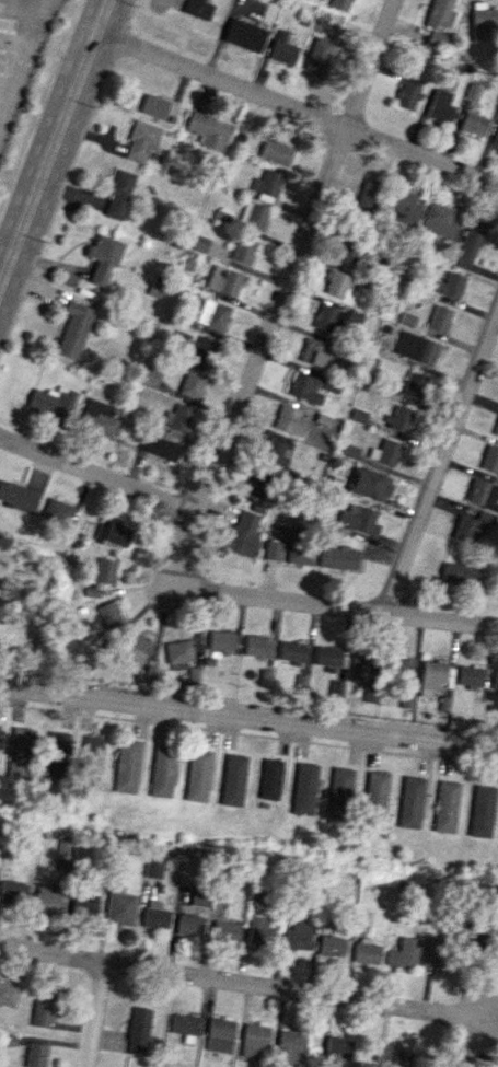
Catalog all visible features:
building: (339, 4)
building: (197, 8)
building: (439, 13)
building: (482, 21)
building: (243, 34)
building: (437, 38)
road: (14, 44)
building: (281, 48)
parking lot: (19, 49)
building: (317, 56)
road: (22, 61)
road: (7, 82)
building: (473, 92)
building: (406, 95)
building: (440, 105)
building: (153, 106)
road: (297, 109)
building: (473, 123)
building: (208, 129)
building: (497, 137)
building: (140, 141)
road: (54, 142)
building: (276, 152)
building: (266, 185)
building: (117, 194)
building: (367, 196)
building: (403, 208)
building: (253, 214)
building: (440, 219)
building: (199, 243)
building: (468, 244)
building: (243, 248)
building: (350, 253)
road: (293, 255)
building: (102, 257)
building: (223, 280)
building: (336, 282)
building: (450, 285)
building: (158, 286)
building: (212, 314)
building: (325, 317)
building: (439, 317)
building: (73, 329)
building: (200, 348)
building: (417, 348)
building: (315, 352)
building: (149, 376)
building: (192, 383)
building: (413, 385)
building: (304, 387)
building: (53, 402)
building: (359, 415)
building: (97, 417)
building: (177, 417)
building: (399, 417)
building: (289, 420)
building: (496, 428)
building: (160, 445)
building: (385, 452)
building: (489, 460)
road: (440, 461)
road: (97, 475)
building: (369, 484)
building: (258, 485)
building: (483, 494)
building: (18, 495)
building: (57, 511)
building: (359, 519)
building: (472, 525)
building: (113, 533)
building: (244, 533)
building: (299, 548)
building: (271, 549)
building: (337, 558)
building: (459, 572)
building: (100, 575)
road: (152, 591)
road: (303, 604)
building: (109, 614)
building: (220, 640)
building: (256, 646)
building: (135, 648)
building: (291, 651)
building: (179, 653)
building: (326, 656)
building: (360, 666)
building: (403, 670)
building: (468, 675)
building: (431, 676)
building: (265, 677)
building: (495, 683)
building: (335, 688)
building: (406, 700)
road: (248, 718)
building: (57, 749)
building: (20, 753)
building: (91, 756)
building: (128, 766)
building: (162, 769)
building: (198, 775)
building: (270, 778)
building: (233, 779)
building: (304, 788)
building: (338, 793)
building: (374, 796)
building: (410, 801)
building: (447, 807)
building: (482, 811)
building: (63, 848)
building: (153, 867)
building: (12, 891)
building: (256, 896)
building: (47, 897)
building: (85, 906)
building: (119, 909)
building: (154, 915)
building: (362, 917)
building: (189, 924)
building: (257, 930)
building: (224, 931)
building: (296, 936)
building: (331, 944)
building: (366, 952)
building: (404, 952)
building: (437, 952)
road: (239, 982)
building: (8, 994)
building: (42, 1009)
road: (91, 1013)
building: (183, 1023)
building: (138, 1030)
building: (219, 1034)
building: (8, 1040)
building: (254, 1041)
road: (465, 1042)
building: (290, 1045)
building: (337, 1046)
building: (36, 1055)
building: (394, 1056)

